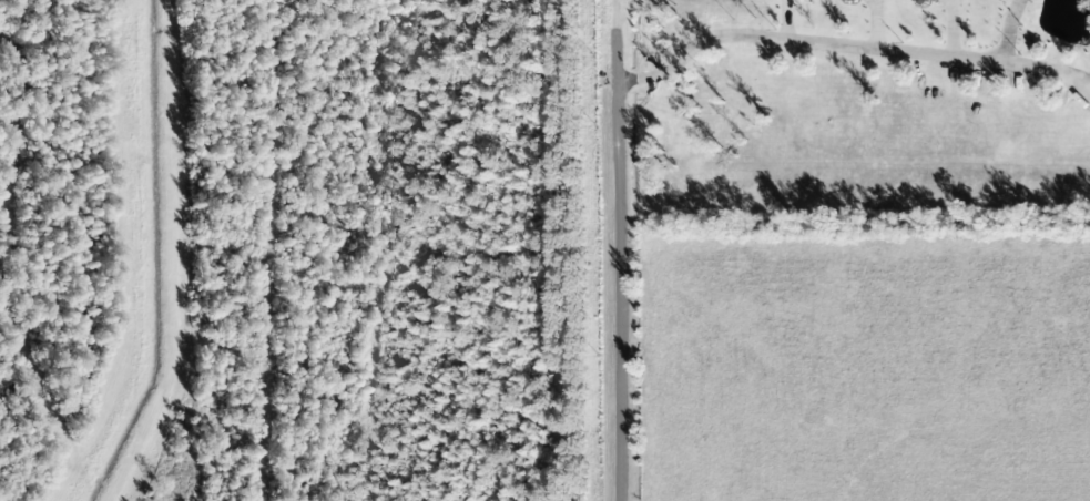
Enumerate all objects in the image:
building: (920, 0)
road: (1005, 30)
road: (850, 49)
road: (621, 249)

